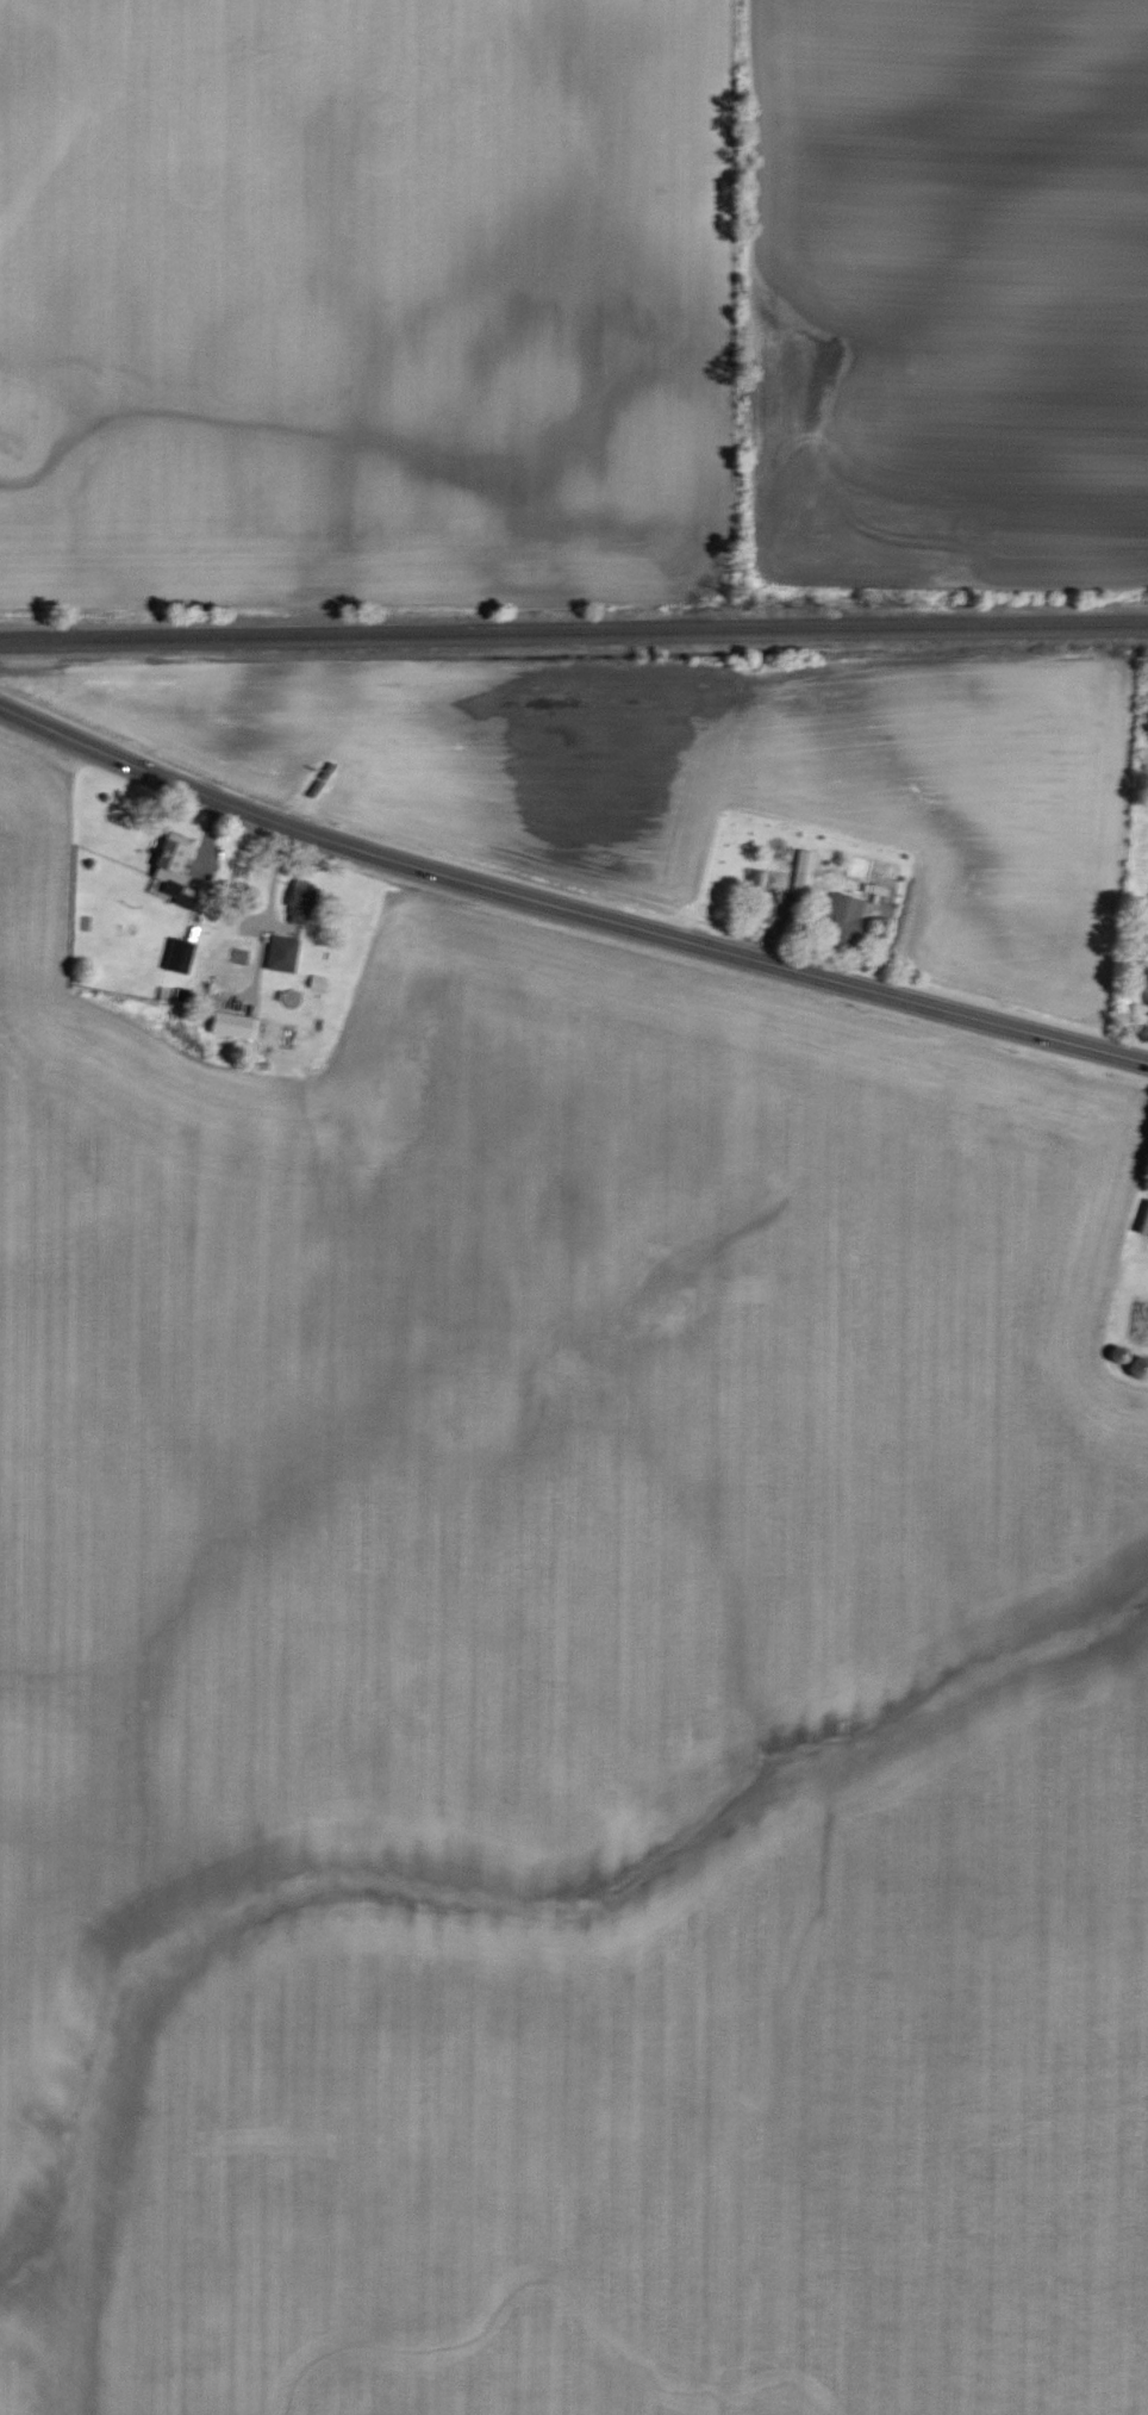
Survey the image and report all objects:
railway: (573, 633)
building: (799, 871)
building: (171, 873)
building: (755, 880)
building: (298, 897)
road: (566, 909)
building: (840, 916)
building: (280, 953)
building: (176, 956)
building: (227, 1025)
building: (1143, 1222)

